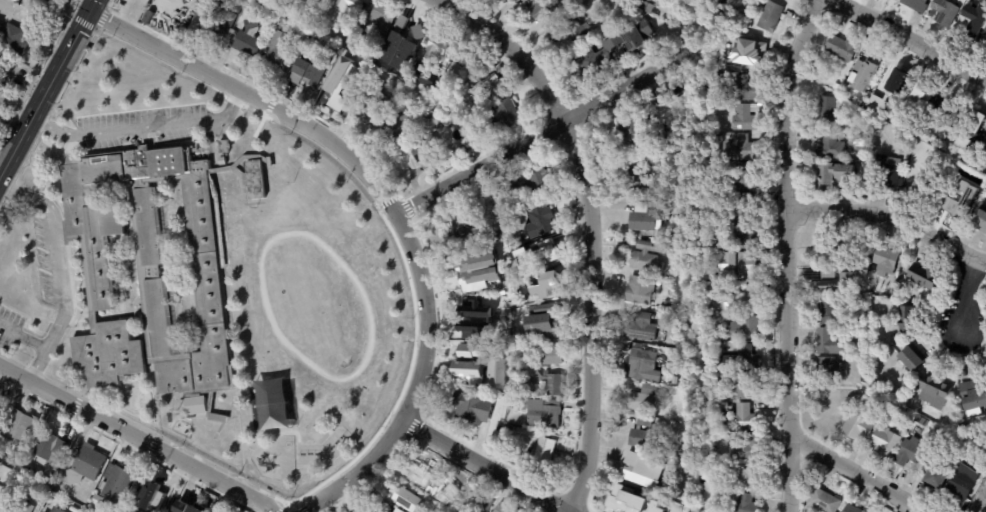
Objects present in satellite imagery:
building: (254, 0)
building: (323, 0)
building: (895, 0)
building: (897, 0)
building: (53, 1)
building: (521, 3)
building: (730, 3)
building: (977, 3)
building: (914, 5)
building: (647, 6)
building: (548, 7)
traffic signals: (86, 10)
building: (342, 11)
building: (941, 12)
building: (408, 15)
building: (772, 17)
building: (222, 20)
building: (305, 20)
building: (380, 22)
building: (750, 22)
building: (969, 25)
road: (34, 27)
building: (0, 29)
building: (571, 32)
building: (309, 33)
building: (410, 36)
building: (982, 38)
building: (14, 39)
road: (911, 39)
building: (250, 40)
building: (338, 48)
building: (839, 48)
building: (89, 49)
building: (280, 50)
road: (511, 50)
building: (440, 51)
building: (614, 51)
building: (752, 55)
building: (464, 57)
building: (2, 58)
building: (362, 62)
building: (475, 64)
building: (867, 67)
building: (404, 69)
building: (311, 72)
building: (422, 74)
building: (460, 76)
building: (891, 77)
building: (23, 78)
building: (399, 86)
road: (44, 87)
building: (342, 88)
building: (751, 89)
building: (489, 91)
building: (837, 94)
building: (662, 96)
building: (919, 96)
building: (375, 100)
road: (16, 101)
building: (450, 102)
building: (460, 108)
building: (944, 109)
building: (825, 110)
building: (430, 113)
building: (505, 114)
building: (748, 117)
building: (451, 120)
building: (971, 120)
parking lot: (142, 127)
building: (401, 129)
road: (140, 130)
building: (637, 130)
building: (985, 130)
road: (545, 132)
building: (720, 135)
building: (224, 146)
building: (829, 147)
building: (742, 148)
building: (981, 148)
building: (426, 151)
building: (222, 161)
building: (431, 165)
building: (887, 172)
building: (744, 175)
building: (832, 175)
building: (642, 177)
building: (254, 179)
building: (982, 180)
building: (537, 182)
building: (918, 188)
road: (390, 203)
building: (953, 205)
building: (745, 207)
building: (646, 215)
road: (886, 215)
building: (978, 220)
building: (542, 222)
building: (469, 228)
building: (500, 235)
building: (744, 236)
building: (493, 238)
building: (519, 239)
building: (236, 244)
building: (722, 244)
road: (785, 252)
building: (155, 253)
building: (550, 253)
building: (821, 253)
building: (649, 257)
building: (883, 260)
parking lot: (41, 262)
building: (743, 266)
road: (979, 266)
building: (474, 267)
road: (59, 272)
building: (517, 273)
building: (713, 273)
building: (920, 277)
building: (824, 283)
building: (553, 286)
building: (642, 290)
building: (739, 298)
road: (967, 299)
building: (496, 300)
building: (506, 301)
building: (663, 309)
building: (864, 310)
building: (525, 313)
building: (827, 313)
road: (588, 316)
building: (481, 317)
building: (902, 320)
building: (546, 324)
parking lot: (8, 328)
building: (644, 328)
building: (746, 329)
road: (22, 338)
building: (550, 341)
building: (825, 342)
building: (469, 350)
building: (107, 354)
building: (552, 356)
building: (482, 357)
building: (908, 358)
building: (744, 359)
building: (641, 364)
building: (496, 366)
building: (826, 369)
building: (471, 378)
building: (507, 379)
building: (487, 380)
building: (550, 383)
building: (743, 386)
building: (507, 388)
building: (932, 391)
building: (723, 395)
building: (971, 395)
building: (646, 399)
building: (516, 403)
building: (825, 404)
building: (195, 405)
building: (726, 406)
building: (474, 408)
building: (896, 410)
building: (544, 413)
building: (748, 417)
building: (920, 422)
building: (853, 427)
building: (17, 430)
building: (648, 438)
road: (137, 439)
building: (883, 441)
building: (749, 448)
building: (52, 449)
building: (547, 451)
building: (684, 451)
building: (906, 453)
building: (16, 461)
building: (87, 466)
road: (479, 467)
building: (647, 472)
road: (858, 474)
building: (930, 474)
building: (426, 475)
building: (37, 476)
building: (750, 478)
building: (466, 479)
building: (118, 483)
building: (958, 484)
building: (485, 488)
building: (458, 498)
building: (152, 499)
building: (408, 499)
building: (629, 501)
building: (820, 502)
building: (727, 503)
building: (749, 503)
building: (5, 505)
building: (490, 505)
building: (191, 506)
building: (25, 507)
building: (657, 507)
building: (371, 508)
building: (74, 509)
building: (505, 509)
building: (848, 509)
building: (58, 510)
building: (396, 510)
building: (400, 510)
building: (41, 511)
building: (130, 511)
building: (355, 511)

